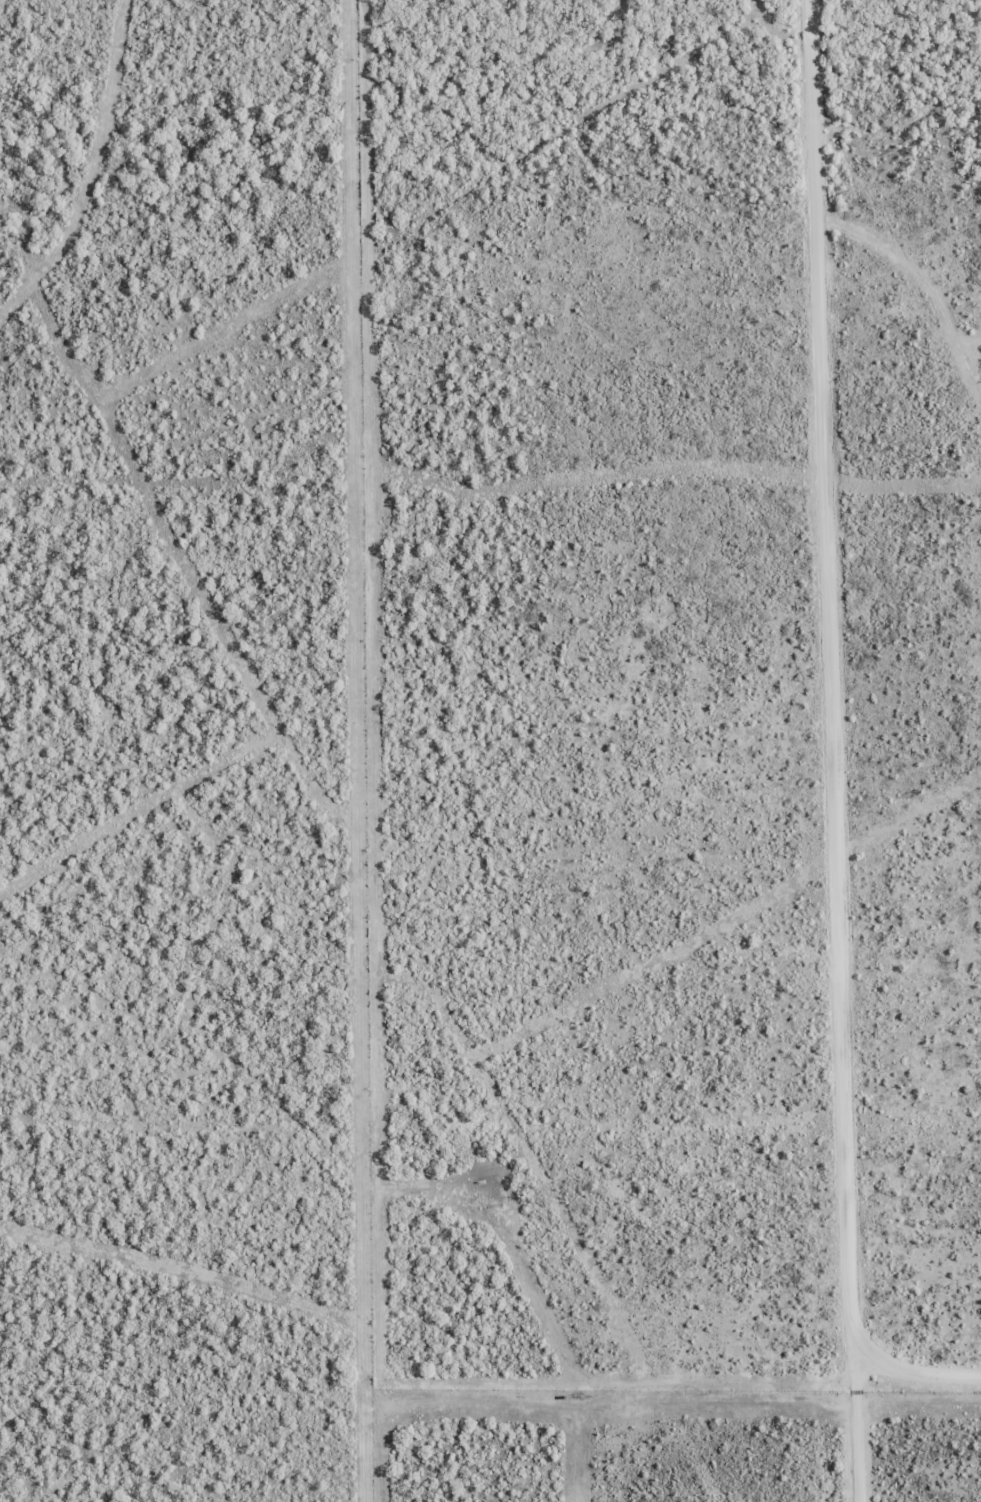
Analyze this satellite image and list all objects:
road: (834, 751)
road: (914, 1372)

